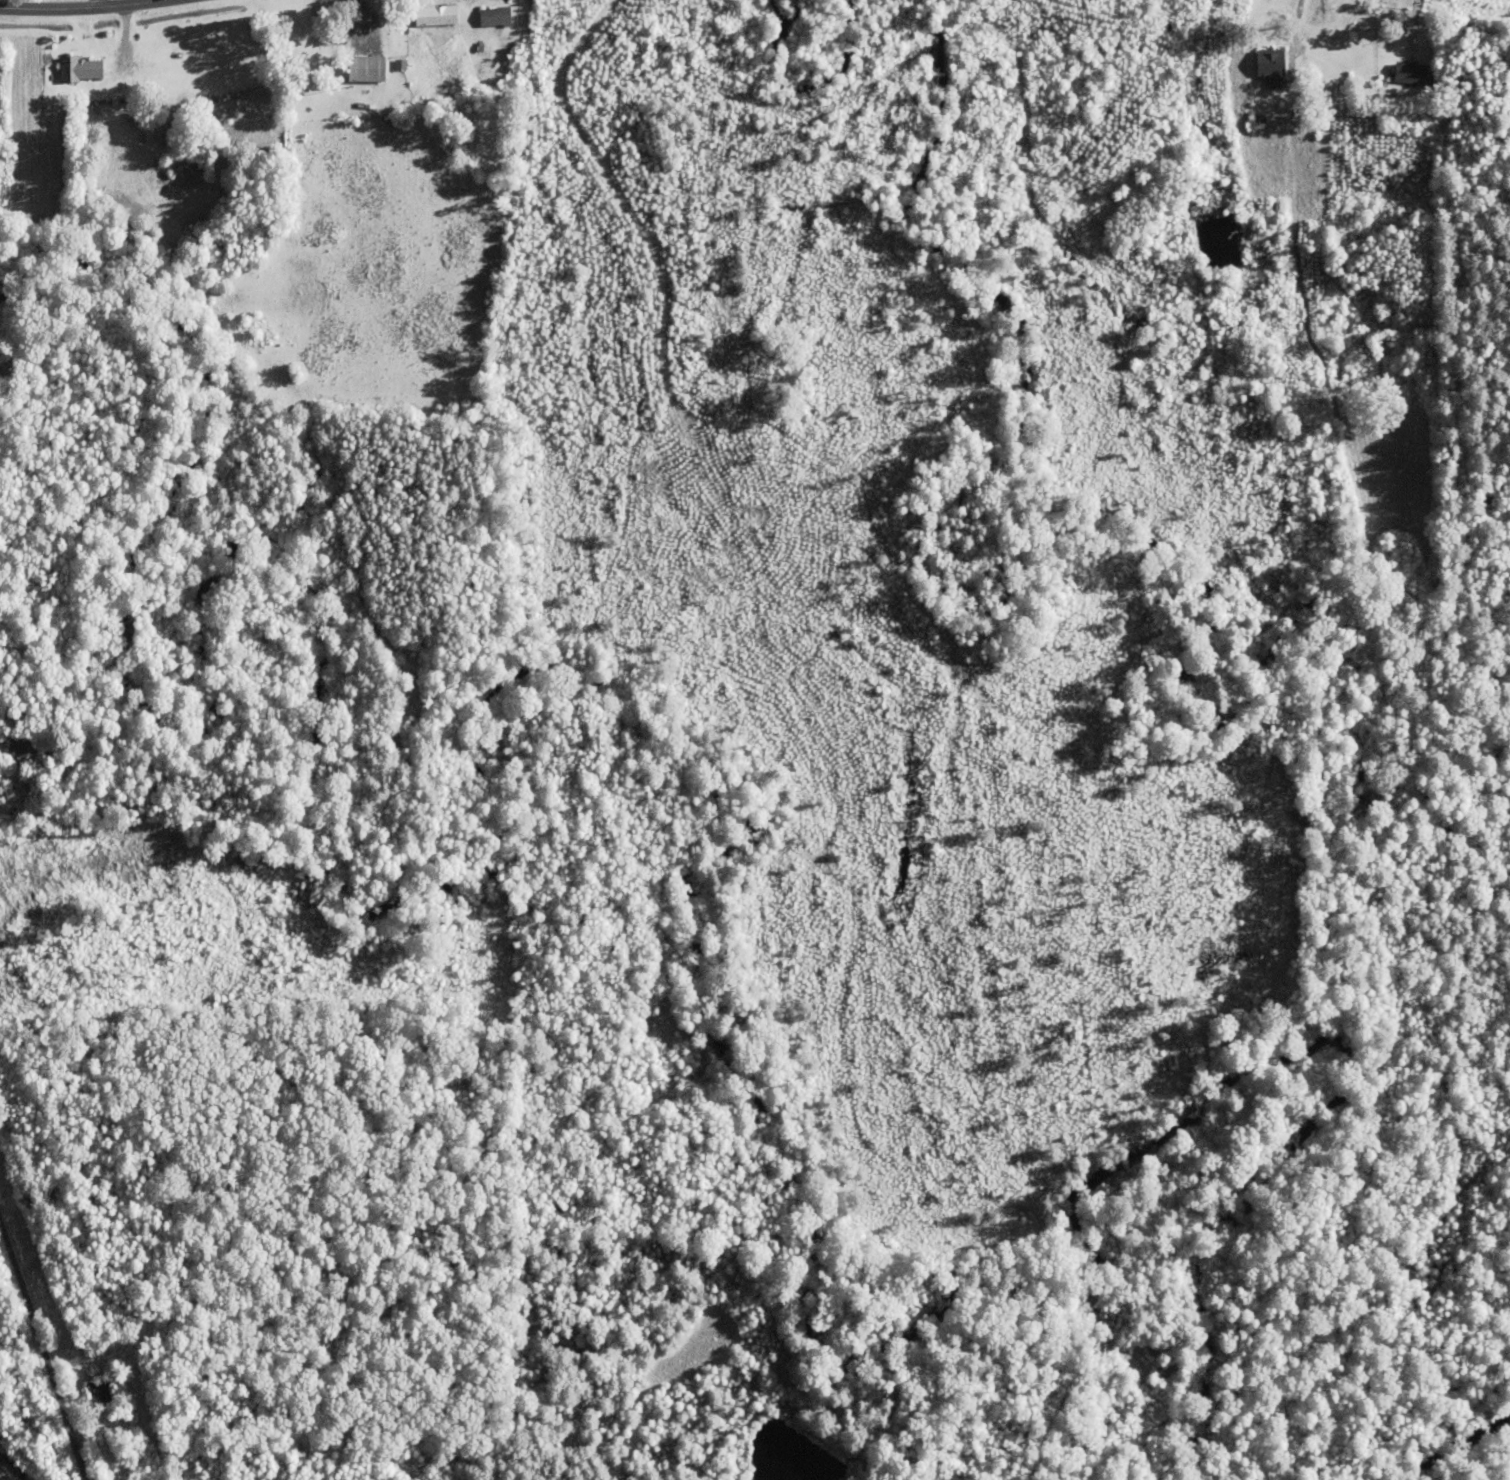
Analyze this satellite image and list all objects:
road: (71, 5)
road: (43, 1354)

